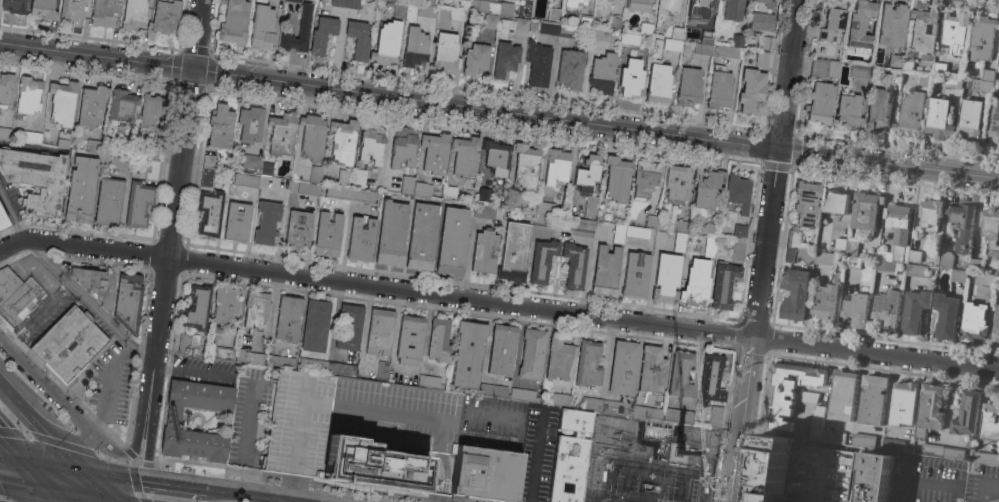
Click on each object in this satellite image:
building: (294, 0)
building: (652, 0)
building: (344, 3)
building: (389, 3)
building: (573, 3)
building: (638, 5)
building: (14, 6)
building: (485, 6)
building: (43, 8)
building: (506, 8)
building: (400, 9)
building: (428, 9)
building: (73, 10)
building: (665, 10)
building: (699, 10)
building: (733, 10)
building: (460, 11)
building: (103, 12)
building: (134, 14)
building: (554, 14)
building: (166, 15)
building: (761, 15)
building: (833, 19)
building: (586, 20)
building: (490, 21)
building: (234, 22)
building: (615, 22)
building: (859, 24)
building: (891, 24)
building: (263, 26)
building: (511, 26)
building: (549, 27)
building: (646, 28)
building: (923, 29)
building: (303, 30)
building: (570, 31)
building: (954, 31)
building: (677, 32)
building: (322, 34)
building: (600, 34)
building: (707, 36)
building: (981, 38)
building: (358, 39)
building: (629, 39)
building: (737, 40)
building: (763, 41)
building: (387, 43)
building: (672, 44)
building: (415, 47)
building: (703, 48)
building: (728, 51)
building: (446, 54)
building: (475, 58)
building: (761, 58)
building: (506, 59)
building: (894, 60)
building: (907, 60)
building: (538, 63)
building: (998, 64)
building: (824, 67)
building: (570, 68)
building: (939, 68)
building: (860, 71)
building: (603, 73)
building: (890, 75)
building: (987, 75)
building: (631, 77)
building: (924, 80)
building: (952, 82)
building: (659, 83)
building: (981, 85)
building: (689, 86)
building: (719, 87)
building: (5, 88)
building: (752, 91)
building: (28, 95)
road: (701, 98)
building: (820, 103)
building: (121, 104)
building: (91, 105)
building: (62, 108)
building: (848, 110)
building: (878, 110)
road: (499, 111)
building: (911, 114)
building: (151, 115)
building: (939, 119)
building: (971, 121)
building: (250, 123)
building: (994, 123)
building: (220, 126)
building: (5, 133)
building: (282, 134)
building: (30, 136)
building: (312, 136)
building: (343, 141)
building: (372, 143)
building: (94, 145)
building: (998, 146)
building: (403, 147)
traffic signals: (781, 150)
building: (151, 151)
building: (434, 152)
building: (465, 155)
building: (496, 156)
building: (118, 161)
building: (252, 163)
building: (525, 165)
building: (555, 166)
road: (182, 168)
building: (267, 168)
building: (150, 169)
building: (208, 169)
road: (778, 169)
building: (588, 172)
building: (315, 174)
building: (346, 176)
building: (35, 178)
building: (359, 178)
building: (617, 178)
building: (645, 178)
building: (245, 180)
building: (676, 183)
building: (407, 184)
building: (308, 188)
building: (81, 189)
building: (422, 189)
building: (450, 191)
building: (707, 191)
building: (338, 192)
building: (484, 194)
building: (737, 194)
building: (363, 195)
building: (518, 200)
building: (108, 201)
building: (835, 202)
building: (138, 203)
building: (806, 203)
building: (546, 207)
building: (590, 207)
building: (865, 210)
building: (484, 211)
building: (209, 212)
building: (930, 214)
building: (544, 219)
building: (651, 220)
building: (2, 221)
building: (237, 221)
building: (266, 221)
building: (583, 224)
building: (679, 225)
building: (962, 225)
building: (990, 227)
building: (710, 228)
building: (298, 229)
building: (739, 231)
building: (391, 232)
building: (637, 232)
building: (897, 232)
building: (619, 233)
building: (327, 234)
building: (422, 236)
building: (361, 238)
building: (452, 240)
building: (679, 241)
building: (840, 243)
building: (710, 245)
building: (852, 245)
building: (797, 248)
building: (738, 250)
building: (514, 251)
building: (484, 252)
building: (914, 256)
building: (825, 258)
building: (542, 260)
building: (945, 260)
building: (852, 262)
building: (574, 264)
building: (975, 264)
building: (885, 266)
building: (605, 269)
building: (916, 270)
road: (588, 272)
building: (635, 274)
building: (958, 276)
building: (666, 277)
building: (986, 279)
building: (7, 282)
road: (68, 283)
building: (95, 283)
building: (696, 283)
building: (724, 284)
road: (374, 286)
building: (794, 293)
building: (128, 301)
building: (19, 302)
building: (825, 303)
building: (225, 304)
building: (197, 307)
building: (255, 308)
building: (887, 308)
building: (856, 310)
building: (914, 311)
building: (946, 315)
building: (288, 318)
building: (974, 322)
building: (315, 325)
building: (350, 326)
building: (996, 329)
building: (380, 330)
road: (393, 338)
building: (409, 339)
building: (439, 339)
building: (67, 342)
building: (186, 342)
building: (502, 349)
building: (222, 352)
building: (468, 353)
building: (532, 354)
road: (875, 354)
building: (249, 357)
building: (559, 358)
building: (280, 361)
building: (588, 363)
building: (84, 365)
building: (313, 365)
building: (622, 367)
building: (342, 368)
building: (383, 370)
building: (650, 370)
road: (189, 371)
building: (680, 373)
building: (710, 379)
building: (430, 381)
road: (46, 385)
road: (109, 387)
building: (493, 390)
building: (786, 391)
building: (523, 394)
building: (842, 395)
building: (809, 396)
building: (561, 399)
building: (872, 399)
road: (14, 402)
building: (592, 403)
building: (904, 403)
building: (616, 407)
road: (153, 409)
building: (930, 409)
building: (647, 411)
building: (966, 413)
building: (678, 415)
building: (715, 416)
road: (141, 418)
road: (740, 419)
building: (990, 419)
building: (172, 420)
building: (816, 423)
building: (299, 424)
building: (388, 433)
road: (60, 434)
building: (833, 437)
road: (249, 439)
road: (48, 440)
building: (863, 440)
road: (49, 441)
road: (8, 443)
building: (893, 445)
road: (8, 449)
building: (933, 450)
traffic signals: (16, 451)
road: (127, 453)
building: (953, 453)
road: (535, 455)
building: (569, 456)
road: (43, 457)
building: (986, 458)
road: (114, 459)
road: (144, 462)
road: (661, 462)
traffic signals: (71, 464)
road: (32, 469)
building: (768, 469)
road: (108, 473)
road: (823, 473)
building: (485, 474)
building: (874, 477)
road: (304, 480)
road: (88, 481)
road: (914, 481)
road: (24, 482)
road: (137, 482)
road: (681, 484)
road: (174, 486)
traffic signals: (48, 487)
road: (983, 488)
road: (76, 492)
road: (54, 494)
road: (246, 495)
road: (624, 496)
traffic signals: (105, 498)
road: (2, 500)
road: (107, 500)
road: (119, 500)

